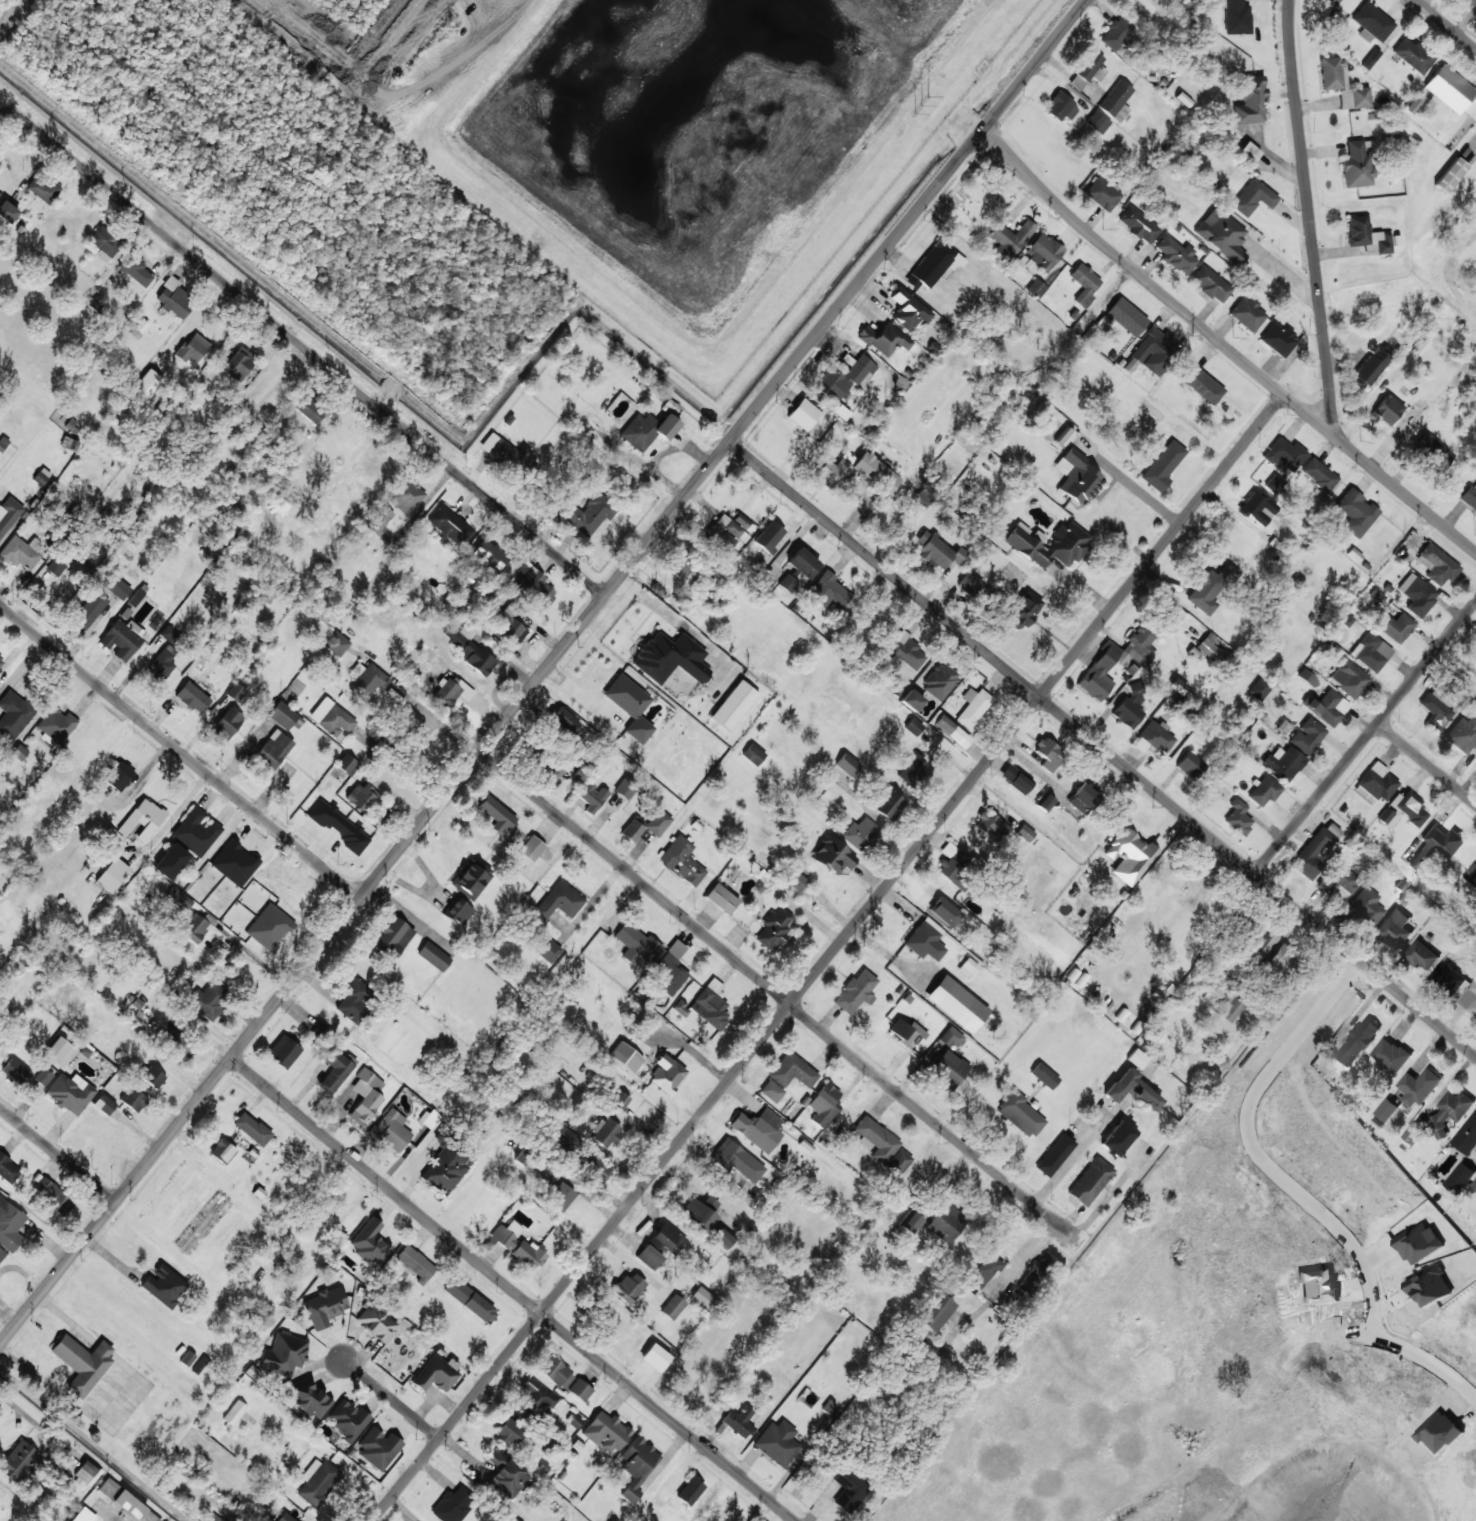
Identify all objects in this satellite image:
building: (1333, 2)
building: (1468, 2)
building: (1236, 17)
building: (1371, 23)
road: (1447, 23)
building: (1116, 33)
building: (1412, 55)
building: (1088, 70)
building: (1449, 88)
building: (1250, 99)
building: (1116, 100)
building: (1060, 107)
road: (4, 112)
building: (1097, 122)
building: (1247, 153)
building: (1356, 166)
building: (1450, 175)
building: (41, 187)
building: (1101, 194)
building: (1253, 197)
building: (7, 212)
road: (1310, 217)
building: (1138, 225)
building: (1222, 235)
building: (1367, 236)
building: (1002, 240)
building: (104, 243)
building: (1043, 252)
building: (1176, 255)
building: (930, 265)
building: (134, 267)
building: (1084, 283)
building: (1210, 284)
building: (1035, 289)
building: (174, 298)
building: (908, 309)
building: (1247, 313)
building: (1126, 316)
building: (885, 339)
building: (1277, 339)
road: (1226, 342)
building: (191, 349)
road: (306, 352)
building: (1152, 352)
building: (239, 364)
building: (1372, 365)
building: (845, 376)
building: (147, 383)
building: (1202, 385)
building: (309, 408)
building: (1387, 409)
building: (802, 416)
building: (1410, 417)
building: (647, 430)
building: (1064, 437)
building: (3, 443)
building: (1432, 448)
building: (504, 452)
building: (1284, 455)
building: (1163, 466)
building: (855, 471)
building: (1319, 474)
building: (1077, 477)
building: (1274, 484)
building: (405, 496)
building: (922, 496)
building: (1469, 496)
building: (1256, 507)
building: (1355, 512)
building: (8, 513)
building: (588, 513)
building: (378, 520)
building: (450, 525)
building: (769, 536)
building: (1068, 542)
building: (935, 550)
building: (21, 553)
building: (490, 555)
building: (802, 563)
building: (1437, 564)
building: (678, 566)
building: (55, 567)
building: (1014, 573)
building: (787, 583)
building: (968, 583)
building: (1209, 586)
building: (117, 587)
building: (535, 588)
building: (827, 591)
building: (1417, 594)
building: (90, 609)
building: (1023, 611)
building: (1394, 626)
building: (508, 628)
building: (169, 634)
building: (459, 636)
building: (1475, 636)
building: (122, 639)
building: (336, 643)
building: (1211, 648)
building: (905, 651)
building: (1371, 652)
building: (669, 657)
building: (476, 658)
building: (1, 660)
building: (1116, 662)
building: (162, 663)
road: (542, 671)
building: (1349, 679)
building: (939, 681)
building: (368, 682)
building: (1259, 689)
building: (450, 691)
building: (236, 692)
building: (192, 697)
building: (911, 700)
building: (733, 705)
building: (630, 706)
building: (973, 707)
building: (1326, 707)
building: (1129, 708)
building: (1436, 708)
building: (13, 715)
building: (284, 716)
building: (331, 717)
building: (565, 719)
building: (227, 723)
building: (56, 725)
building: (913, 726)
building: (950, 731)
building: (1462, 734)
building: (1156, 736)
building: (1307, 736)
road: (1365, 737)
road: (1101, 747)
road: (180, 749)
building: (273, 750)
building: (17, 754)
building: (753, 754)
building: (1048, 754)
road: (1427, 760)
building: (1283, 762)
building: (347, 764)
building: (847, 764)
building: (1189, 765)
building: (912, 769)
building: (556, 772)
building: (120, 776)
building: (1015, 779)
building: (1376, 784)
building: (625, 787)
building: (1264, 791)
building: (362, 797)
building: (592, 797)
building: (1082, 798)
building: (1043, 802)
building: (887, 804)
building: (1403, 809)
building: (495, 813)
building: (1237, 817)
building: (142, 819)
building: (657, 822)
building: (989, 825)
building: (195, 831)
building: (631, 831)
building: (860, 833)
building: (1024, 833)
building: (1436, 846)
building: (531, 848)
building: (1315, 850)
building: (832, 856)
building: (1129, 856)
building: (170, 861)
building: (681, 861)
building: (952, 863)
building: (1472, 873)
building: (112, 875)
building: (471, 878)
building: (1339, 880)
building: (797, 881)
building: (721, 898)
building: (559, 902)
building: (1366, 907)
building: (944, 911)
building: (457, 912)
building: (196, 927)
building: (268, 927)
building: (1395, 927)
building: (774, 928)
building: (393, 937)
building: (1259, 939)
building: (925, 940)
building: (635, 944)
building: (547, 950)
building: (1421, 955)
building: (433, 956)
road: (828, 956)
building: (1280, 959)
building: (967, 968)
building: (670, 969)
building: (1448, 978)
building: (856, 992)
road: (777, 994)
building: (1470, 997)
building: (210, 999)
building: (354, 1000)
building: (706, 1005)
building: (1229, 1007)
building: (1127, 1020)
building: (320, 1031)
building: (902, 1031)
building: (951, 1037)
building: (1358, 1042)
building: (181, 1045)
building: (59, 1051)
building: (283, 1051)
building: (1391, 1055)
building: (625, 1057)
building: (1137, 1058)
building: (948, 1069)
building: (15, 1070)
building: (792, 1071)
building: (334, 1072)
building: (666, 1074)
building: (1044, 1075)
building: (153, 1077)
building: (1418, 1087)
building: (1132, 1089)
building: (771, 1091)
building: (70, 1093)
building: (365, 1096)
building: (134, 1099)
building: (620, 1101)
building: (104, 1104)
building: (824, 1105)
building: (1387, 1109)
building: (1450, 1110)
building: (1019, 1114)
building: (757, 1127)
building: (251, 1129)
building: (390, 1130)
building: (604, 1133)
building: (1412, 1134)
building: (1467, 1135)
building: (565, 1136)
building: (1117, 1138)
building: (875, 1139)
building: (222, 1151)
road: (57, 1154)
road: (1074, 1154)
building: (1055, 1155)
building: (522, 1157)
building: (736, 1161)
building: (897, 1163)
building: (589, 1166)
building: (446, 1167)
building: (8, 1169)
building: (1459, 1177)
building: (1090, 1181)
building: (1474, 1182)
road: (1296, 1193)
building: (52, 1195)
road: (1108, 1195)
building: (560, 1197)
building: (699, 1211)
building: (945, 1222)
building: (909, 1223)
building: (10, 1225)
building: (722, 1239)
building: (370, 1243)
building: (516, 1244)
building: (660, 1245)
building: (2, 1254)
building: (414, 1263)
building: (983, 1274)
building: (164, 1285)
building: (628, 1287)
road: (510, 1288)
building: (470, 1300)
building: (702, 1300)
building: (324, 1306)
building: (672, 1306)
building: (930, 1318)
building: (375, 1323)
building: (284, 1353)
building: (655, 1357)
building: (187, 1358)
building: (82, 1363)
building: (554, 1371)
building: (435, 1374)
building: (579, 1389)
building: (311, 1398)
building: (535, 1399)
road: (398, 1404)
building: (234, 1413)
building: (347, 1420)
building: (738, 1422)
building: (508, 1431)
building: (606, 1432)
building: (777, 1443)
building: (378, 1448)
building: (19, 1462)
building: (637, 1466)
building: (52, 1468)
building: (87, 1473)
building: (506, 1474)
building: (316, 1481)
building: (108, 1488)
building: (849, 1490)
building: (690, 1491)
building: (452, 1504)
building: (132, 1507)
building: (84, 1515)
building: (284, 1517)
building: (214, 1518)
building: (514, 1520)

